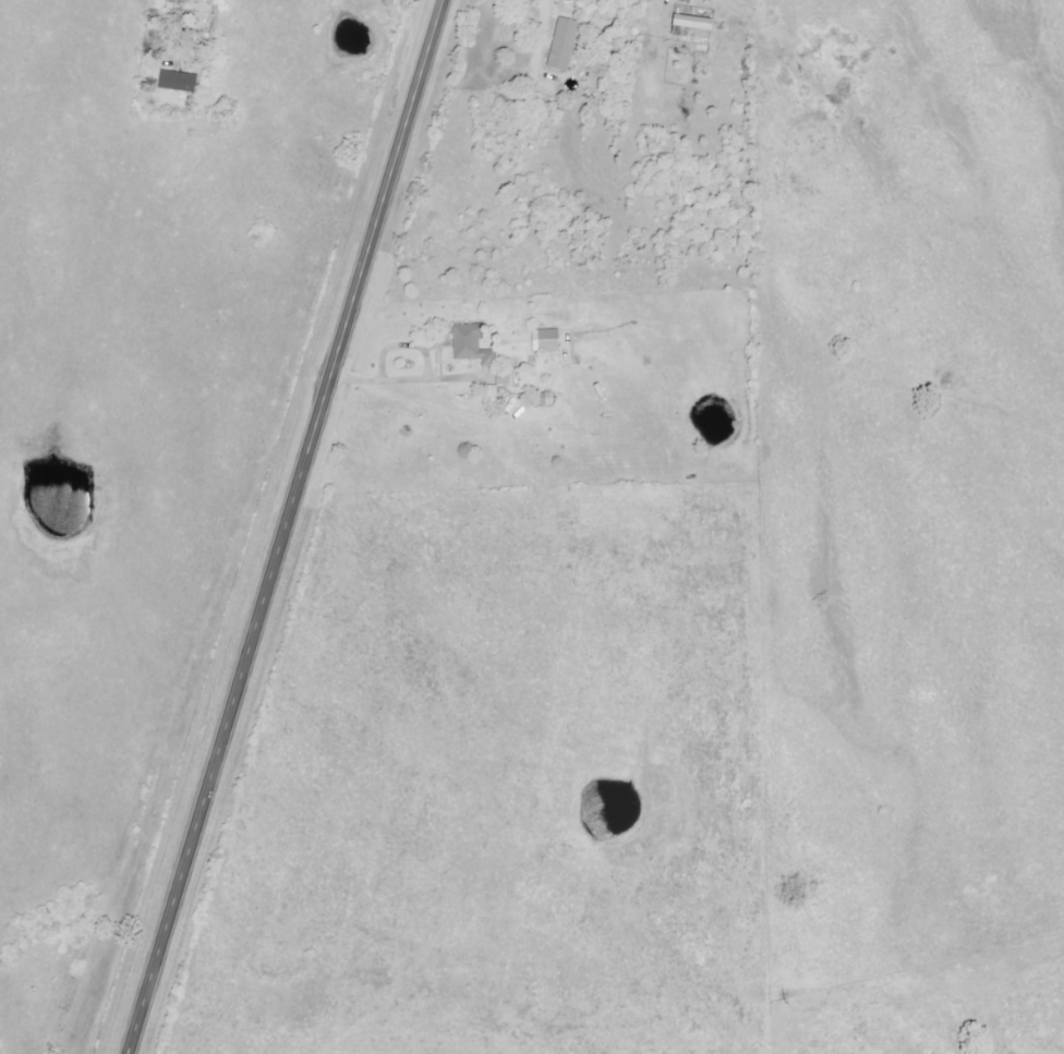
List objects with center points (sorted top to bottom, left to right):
building: (181, 9)
building: (561, 45)
building: (176, 82)
building: (543, 341)
building: (470, 346)
building: (500, 379)
building: (488, 397)
building: (542, 400)
road: (287, 526)
power tower: (1059, 925)
power tower: (779, 1001)

